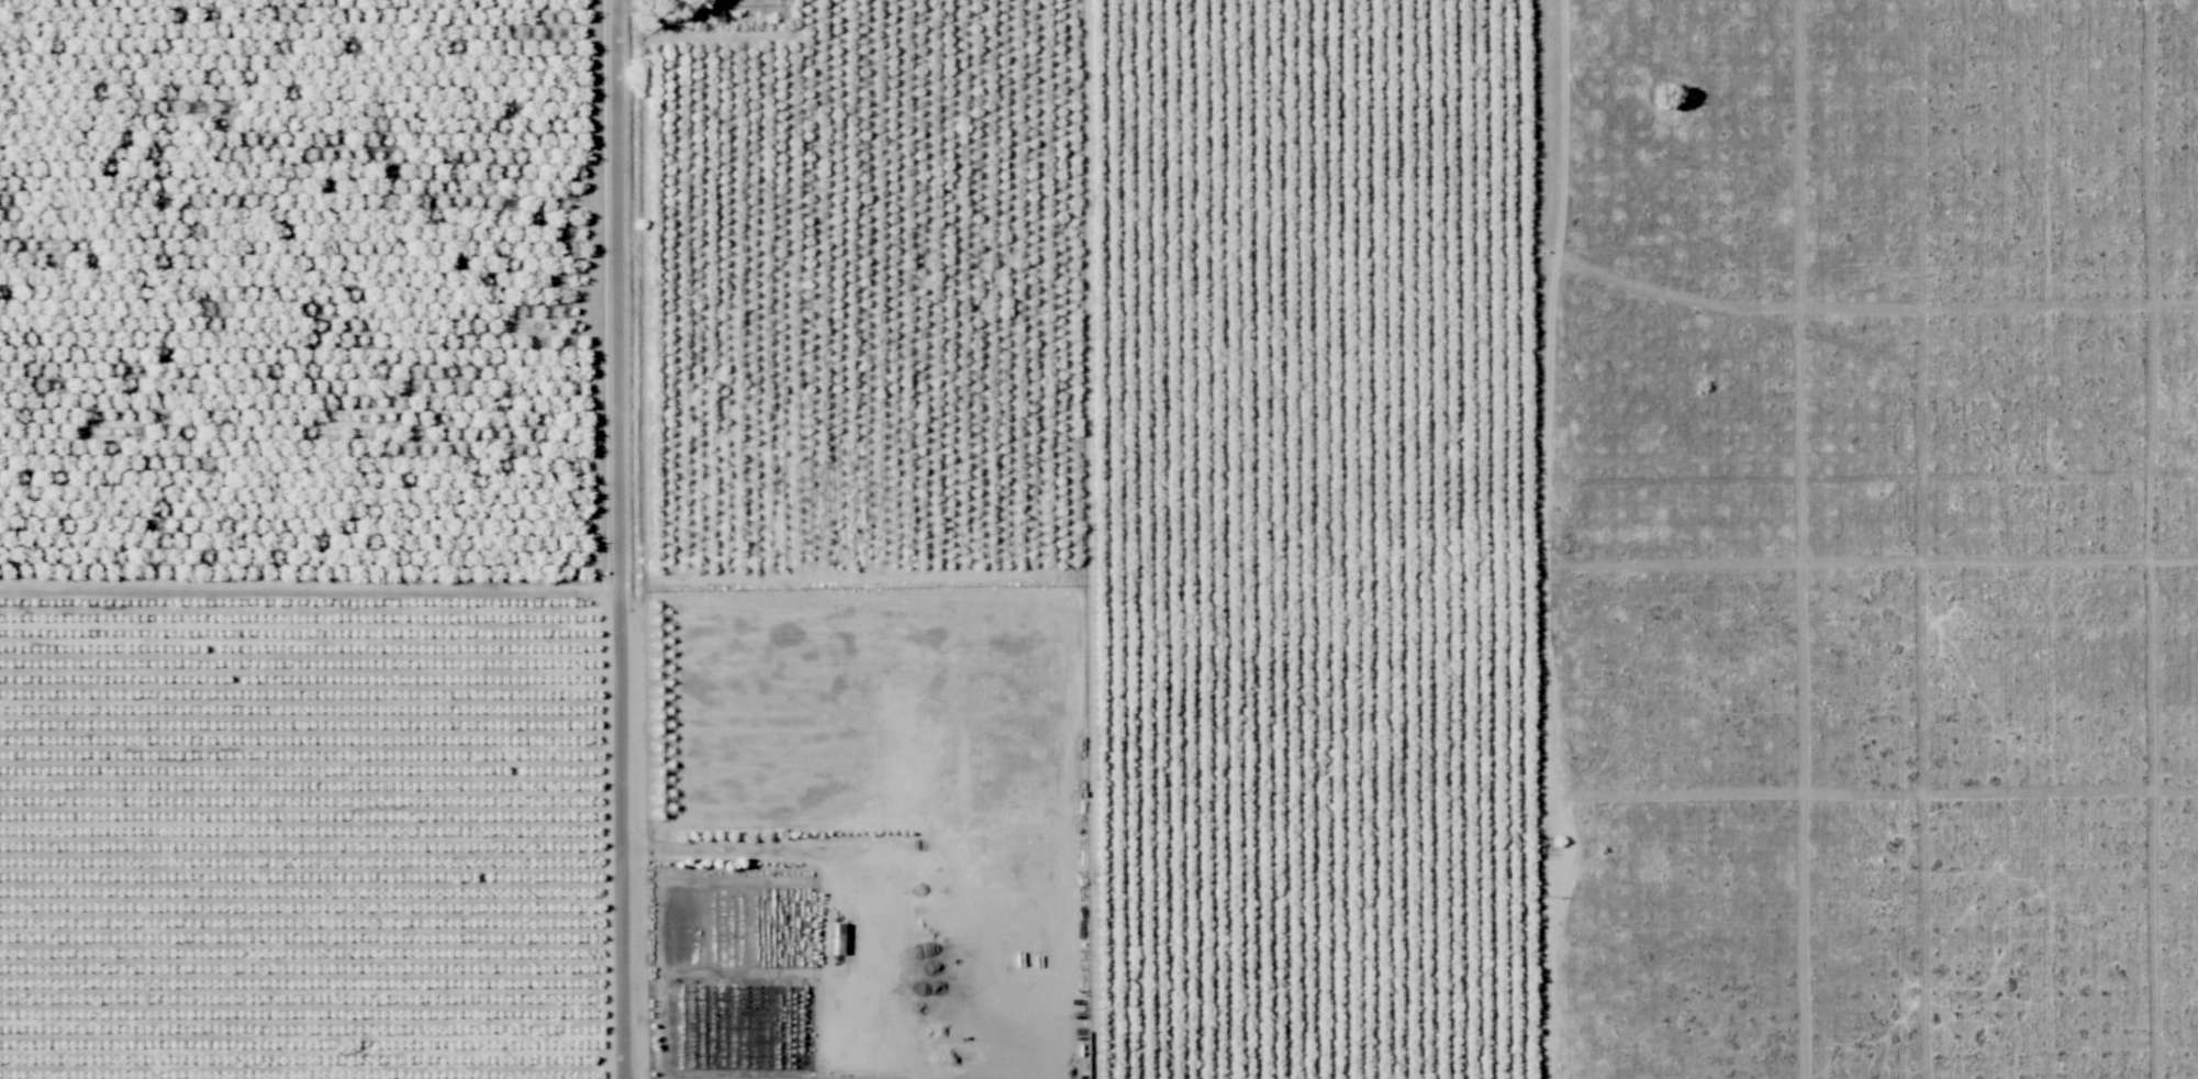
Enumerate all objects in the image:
road: (623, 539)
road: (692, 972)

